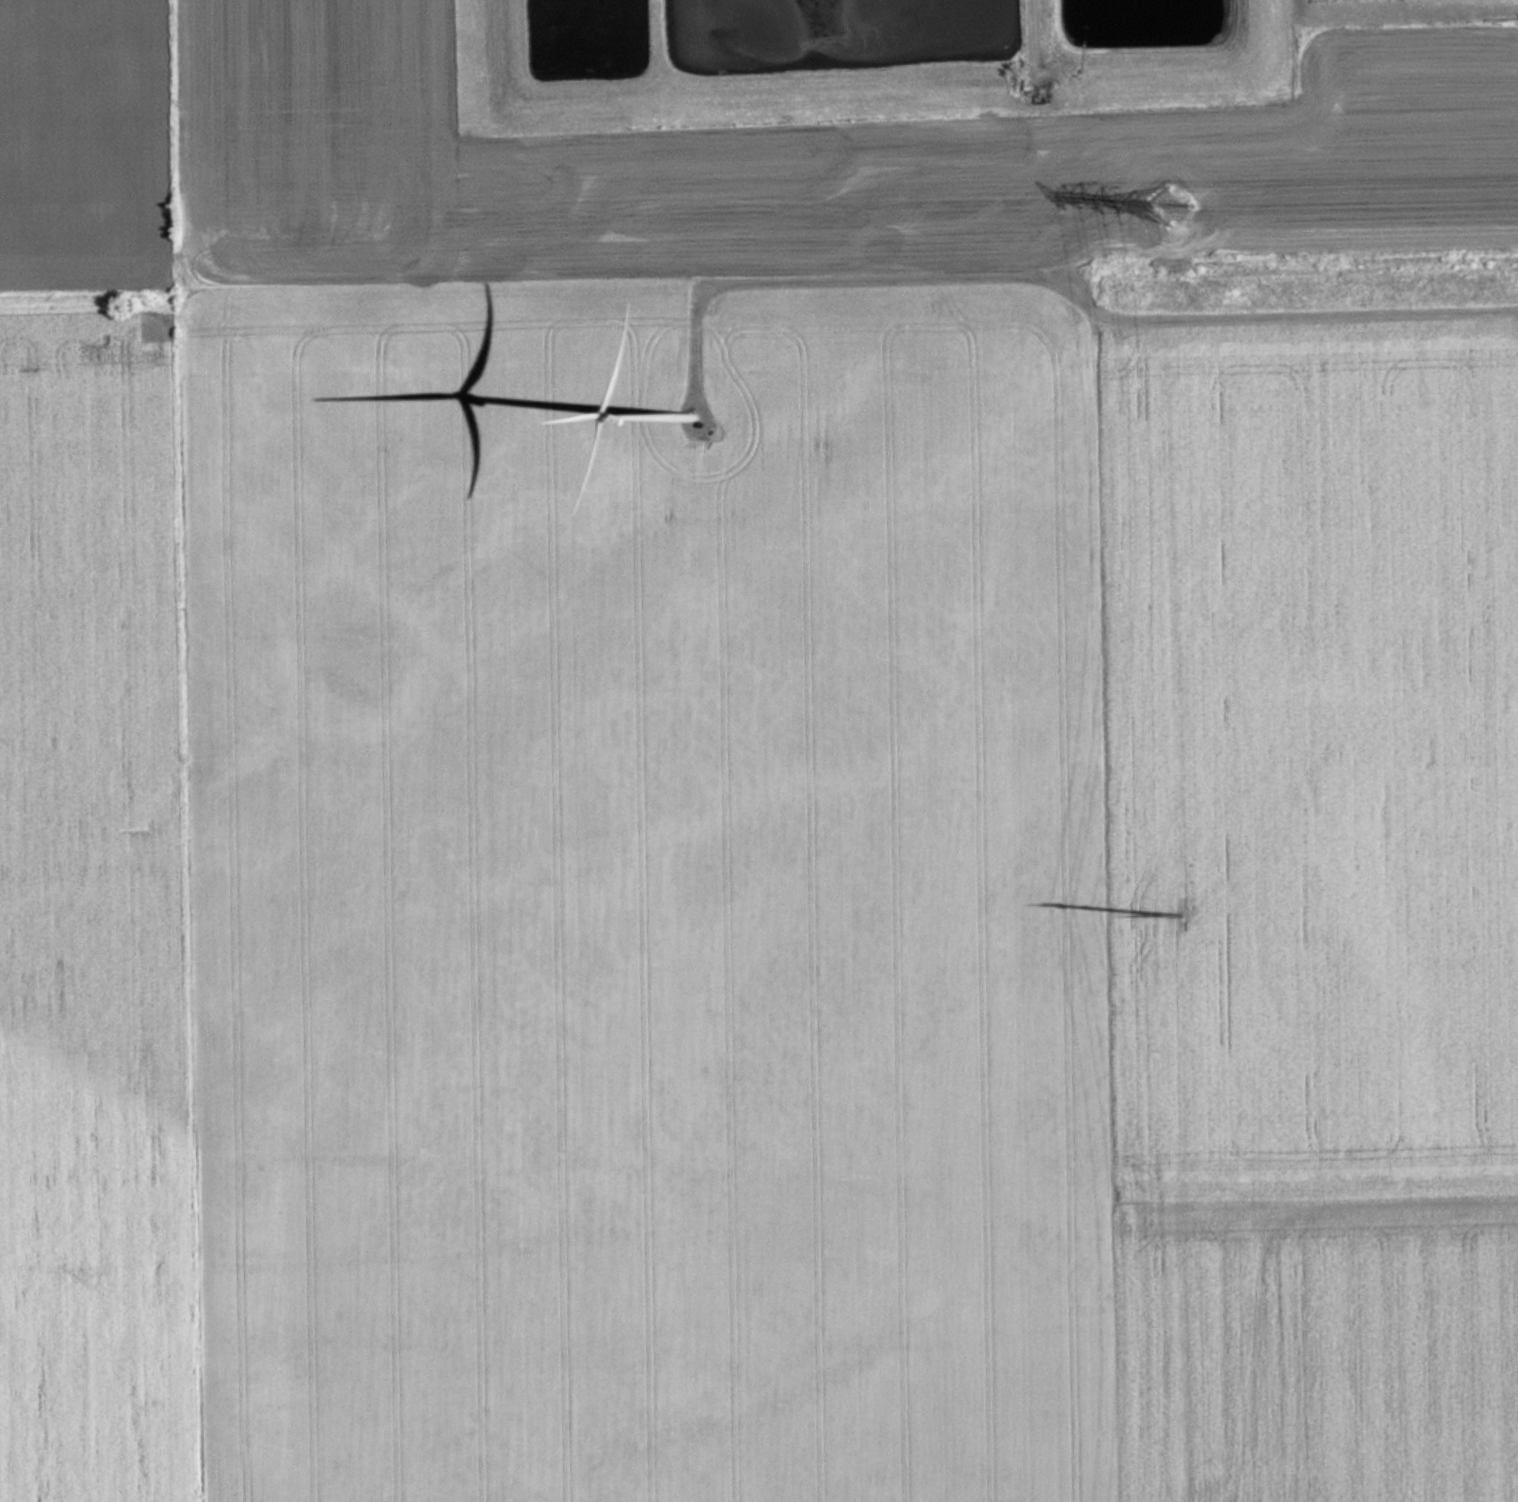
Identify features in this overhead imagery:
power tower: (1179, 187)
road: (1102, 313)
wind turbine: (693, 411)
power tower: (1181, 906)

